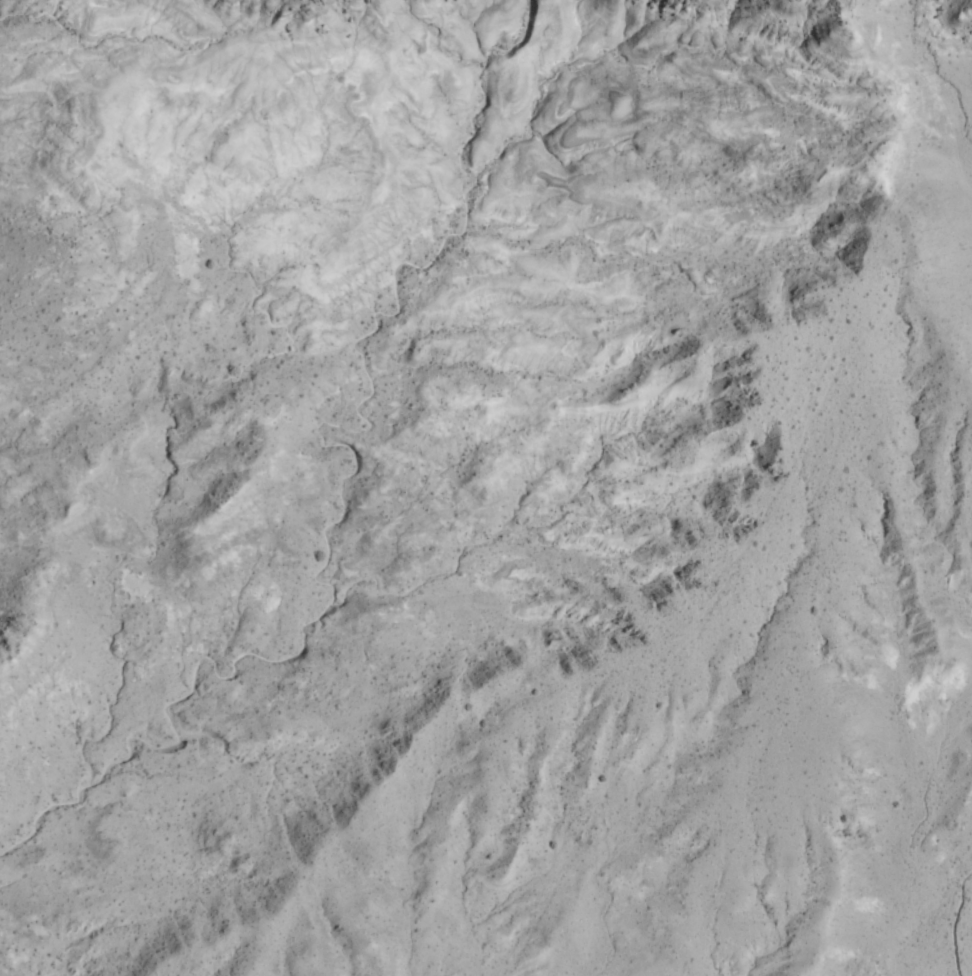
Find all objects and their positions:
road: (861, 917)

